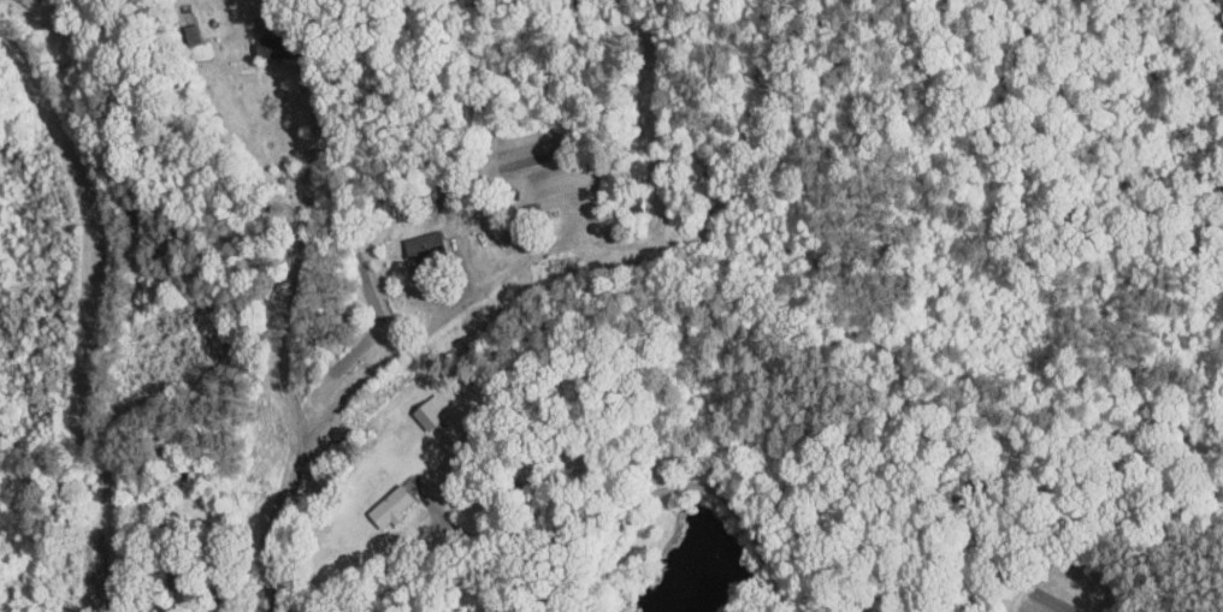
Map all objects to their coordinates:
building: (408, 239)
road: (299, 267)
road: (498, 285)
road: (149, 301)
building: (413, 404)
building: (374, 499)
road: (644, 500)

